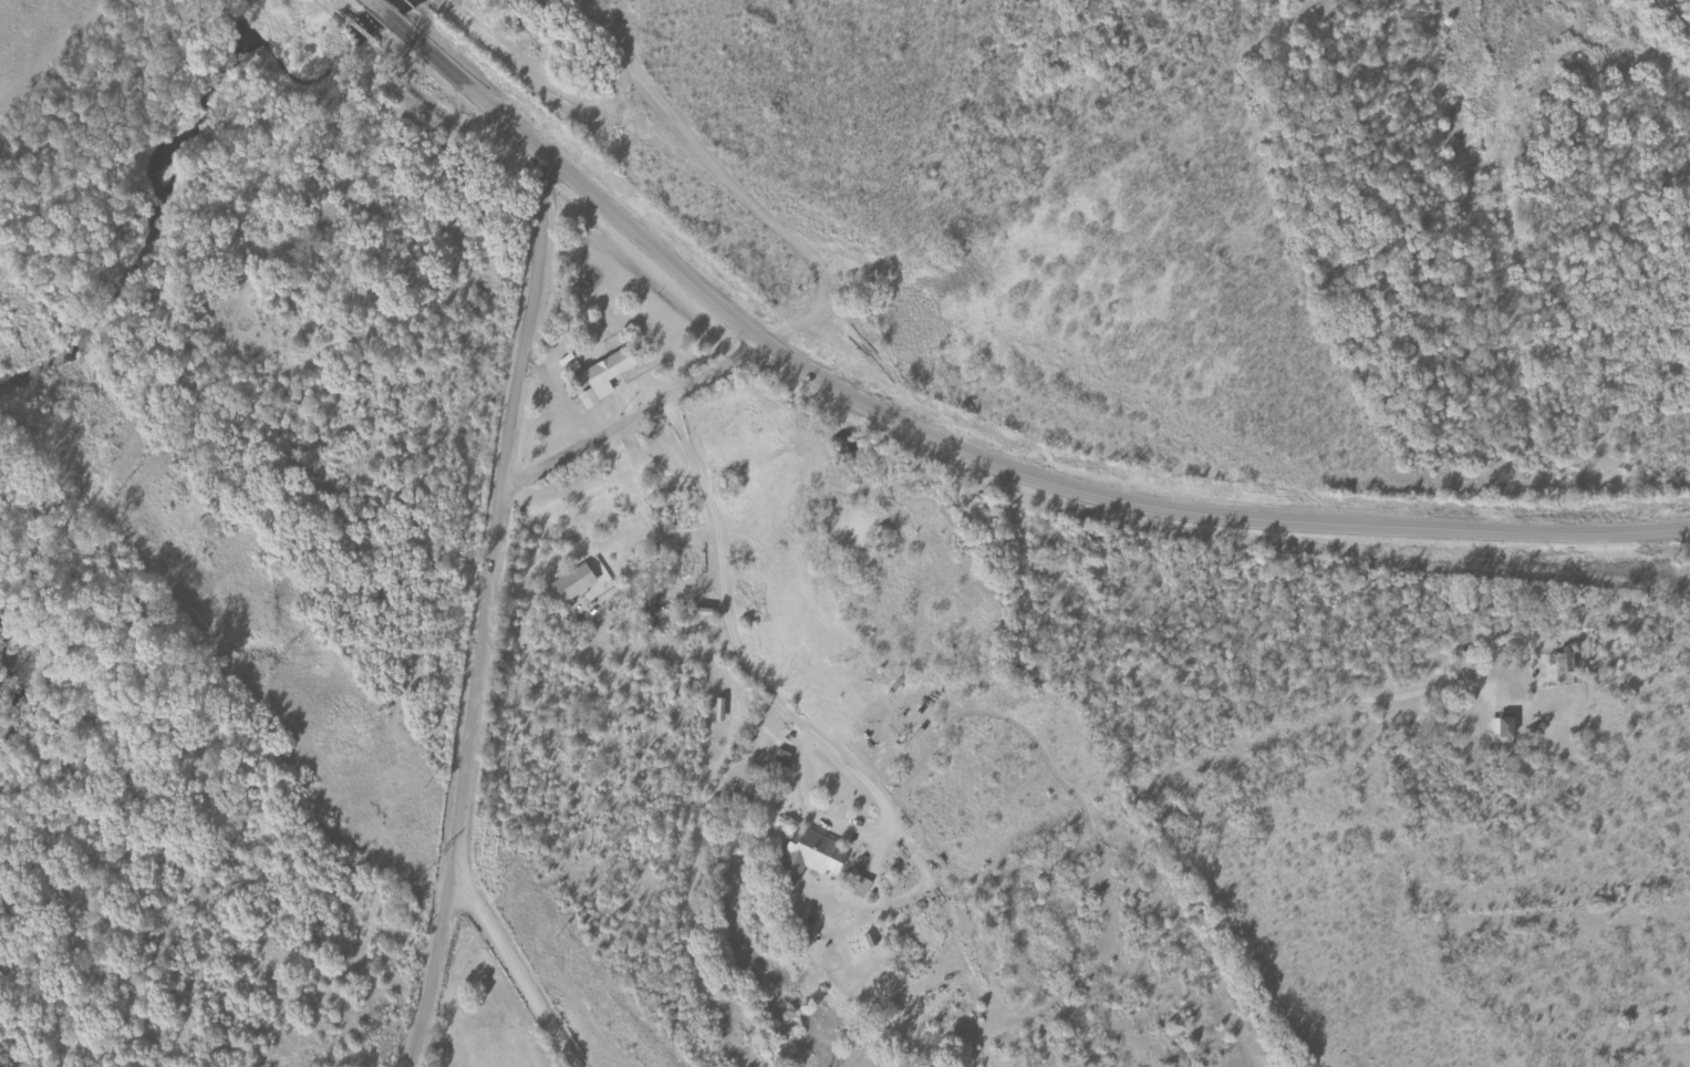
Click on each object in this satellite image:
road: (359, 2)
road: (879, 276)
building: (609, 376)
road: (952, 454)
power tower: (114, 497)
building: (576, 583)
road: (722, 614)
road: (485, 618)
building: (1568, 663)
power tower: (268, 674)
building: (1505, 731)
building: (815, 854)
power tower: (434, 866)
building: (860, 887)
road: (514, 970)

